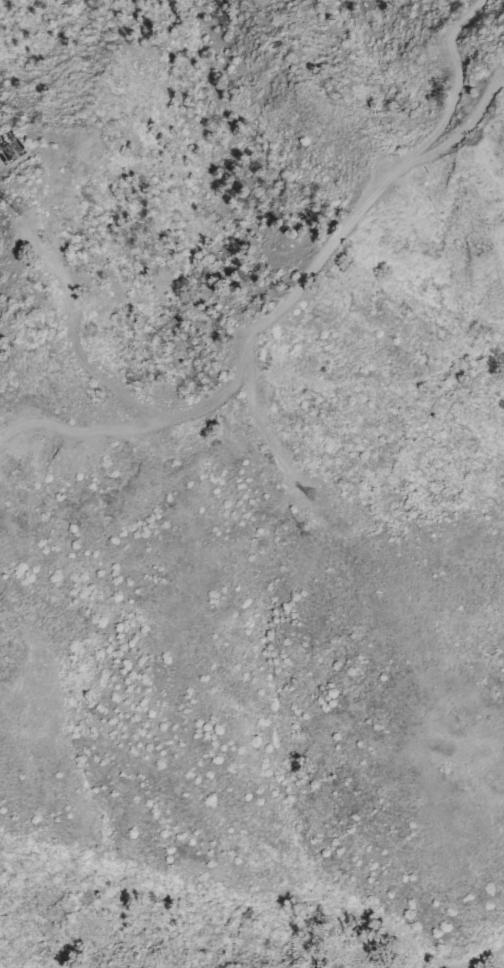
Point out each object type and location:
power tower: (13, 154)
power tower: (26, 211)
road: (343, 237)
power tower: (315, 498)

